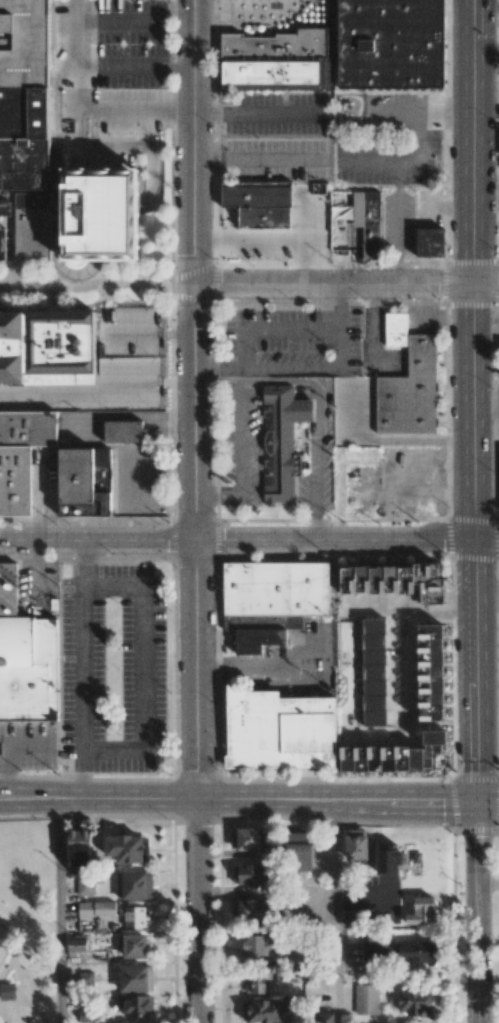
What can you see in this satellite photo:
road: (486, 9)
road: (247, 14)
parking lot: (251, 14)
road: (113, 23)
building: (24, 41)
building: (397, 44)
road: (486, 47)
building: (278, 59)
parking lot: (108, 83)
road: (83, 89)
road: (424, 112)
road: (257, 113)
road: (258, 159)
parking lot: (278, 159)
road: (407, 163)
building: (22, 167)
building: (262, 204)
building: (104, 213)
building: (374, 225)
building: (435, 243)
road: (96, 284)
road: (346, 284)
road: (271, 329)
road: (151, 333)
parking lot: (292, 341)
building: (45, 345)
road: (308, 367)
parking lot: (106, 368)
building: (409, 380)
road: (99, 391)
road: (320, 400)
road: (474, 401)
road: (486, 403)
building: (121, 431)
road: (387, 439)
building: (280, 442)
building: (22, 456)
road: (241, 459)
building: (76, 475)
building: (361, 492)
road: (195, 511)
road: (249, 540)
building: (396, 580)
building: (273, 600)
building: (27, 657)
road: (241, 666)
parking lot: (112, 668)
road: (82, 669)
road: (143, 669)
building: (357, 669)
building: (373, 672)
building: (430, 672)
building: (282, 730)
road: (4, 745)
building: (393, 755)
road: (238, 799)
traffic signals: (477, 802)
road: (488, 802)
building: (247, 838)
building: (357, 845)
building: (78, 847)
building: (126, 848)
building: (298, 850)
building: (249, 874)
road: (488, 884)
building: (84, 885)
building: (134, 885)
building: (94, 907)
building: (248, 908)
park: (29, 911)
road: (58, 911)
road: (337, 911)
building: (422, 911)
road: (478, 912)
building: (135, 916)
building: (352, 916)
road: (10, 942)
building: (76, 944)
building: (132, 945)
building: (259, 945)
building: (374, 950)
building: (417, 950)
road: (5, 967)
building: (135, 978)
building: (256, 980)
road: (46, 981)
building: (7, 990)
road: (20, 996)
building: (366, 999)
building: (414, 1002)
road: (11, 1004)
building: (137, 1005)
building: (264, 1010)
road: (1, 1012)
road: (4, 1014)
building: (84, 1015)

